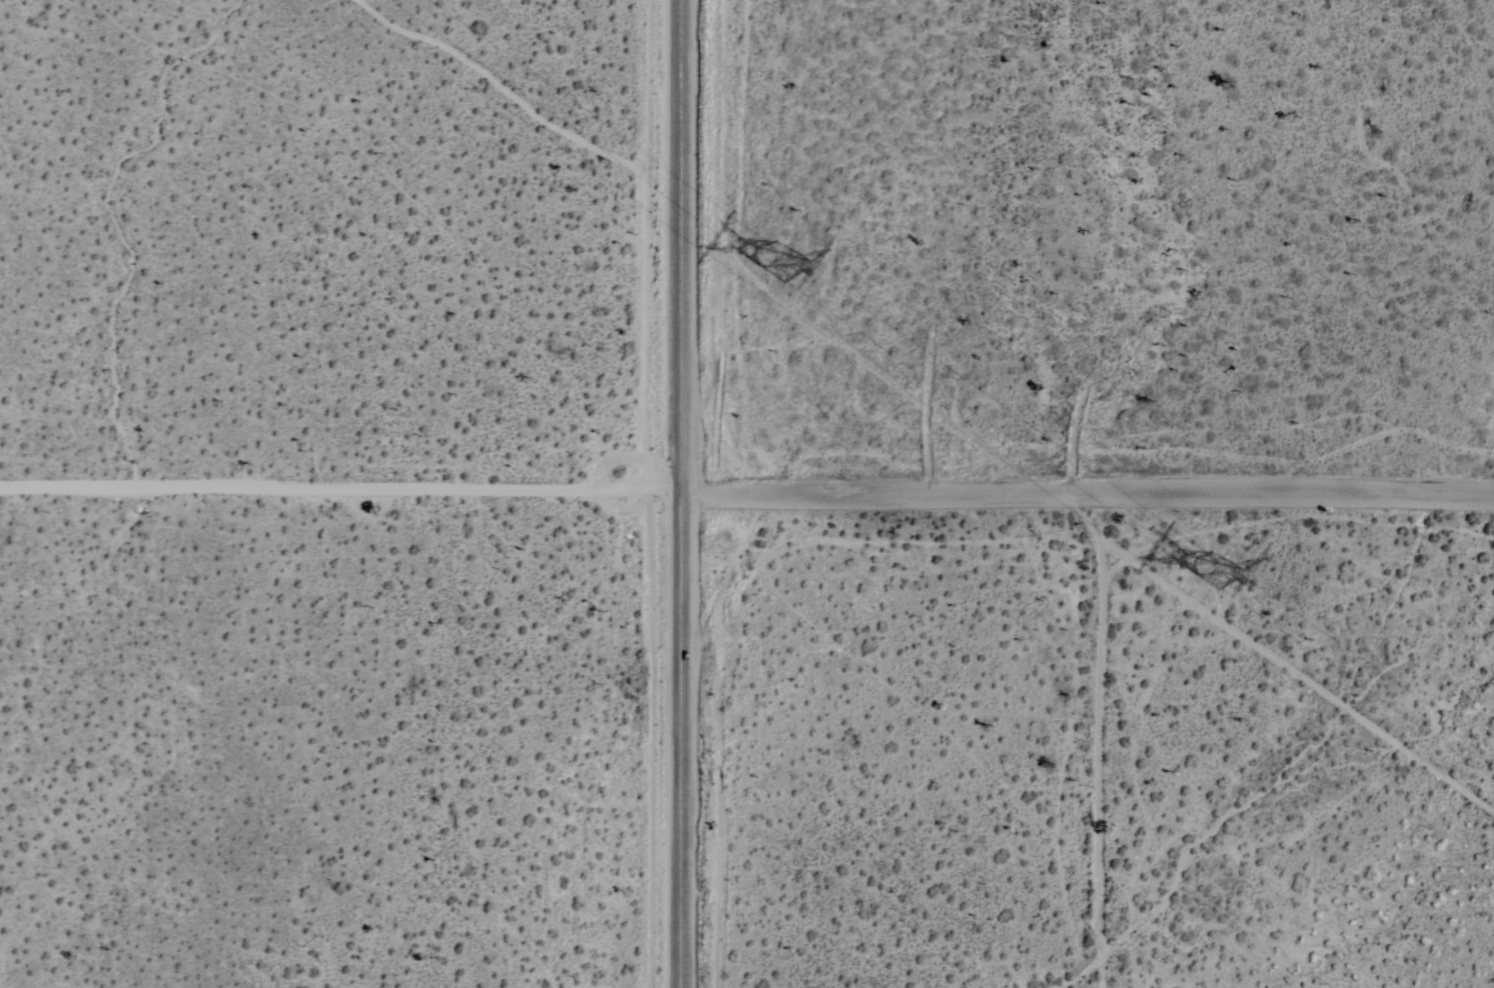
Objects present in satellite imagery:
power tower: (771, 256)
road: (342, 487)
road: (1089, 491)
road: (685, 494)
power tower: (1210, 566)
road: (1101, 739)

